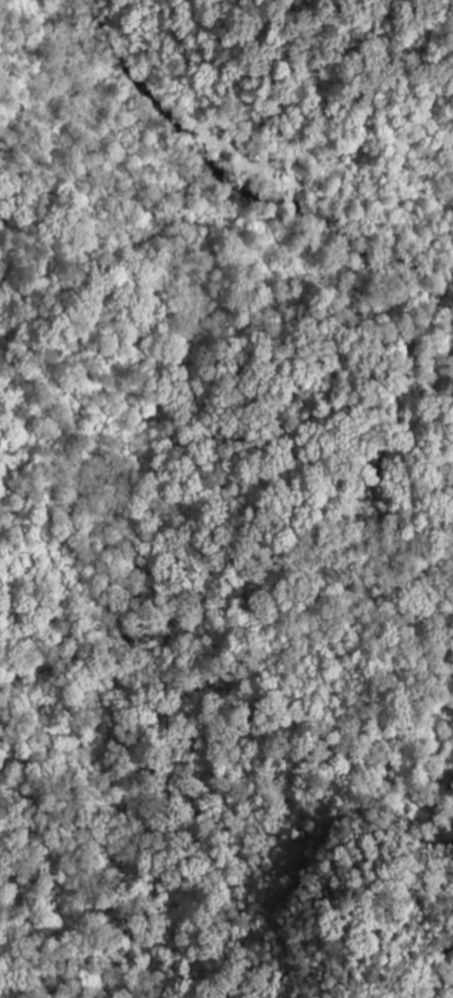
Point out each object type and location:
road: (371, 52)

